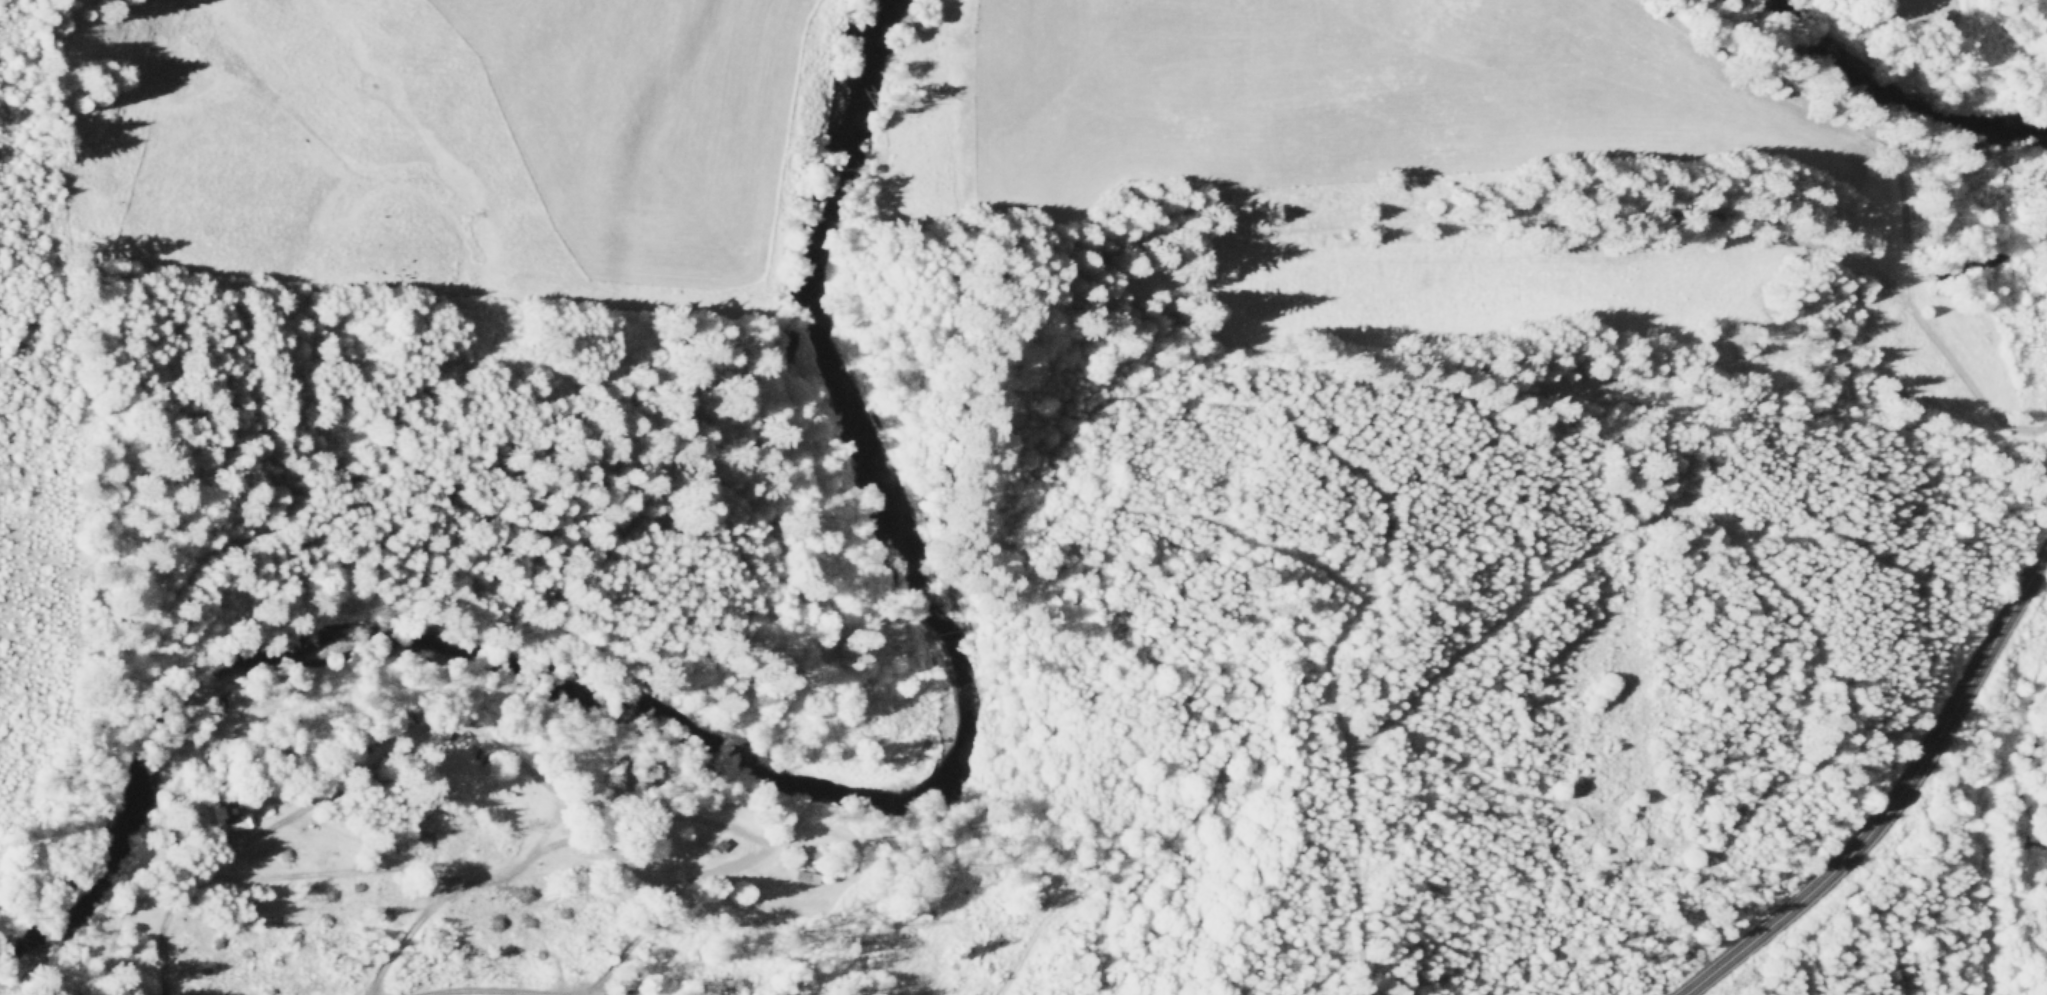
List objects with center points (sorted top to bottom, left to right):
river: (1898, 91)
road: (1462, 651)
road: (1333, 668)
river: (799, 762)
road: (861, 782)
road: (327, 791)
road: (1898, 803)
road: (1981, 809)
road: (1079, 894)
road: (793, 937)

